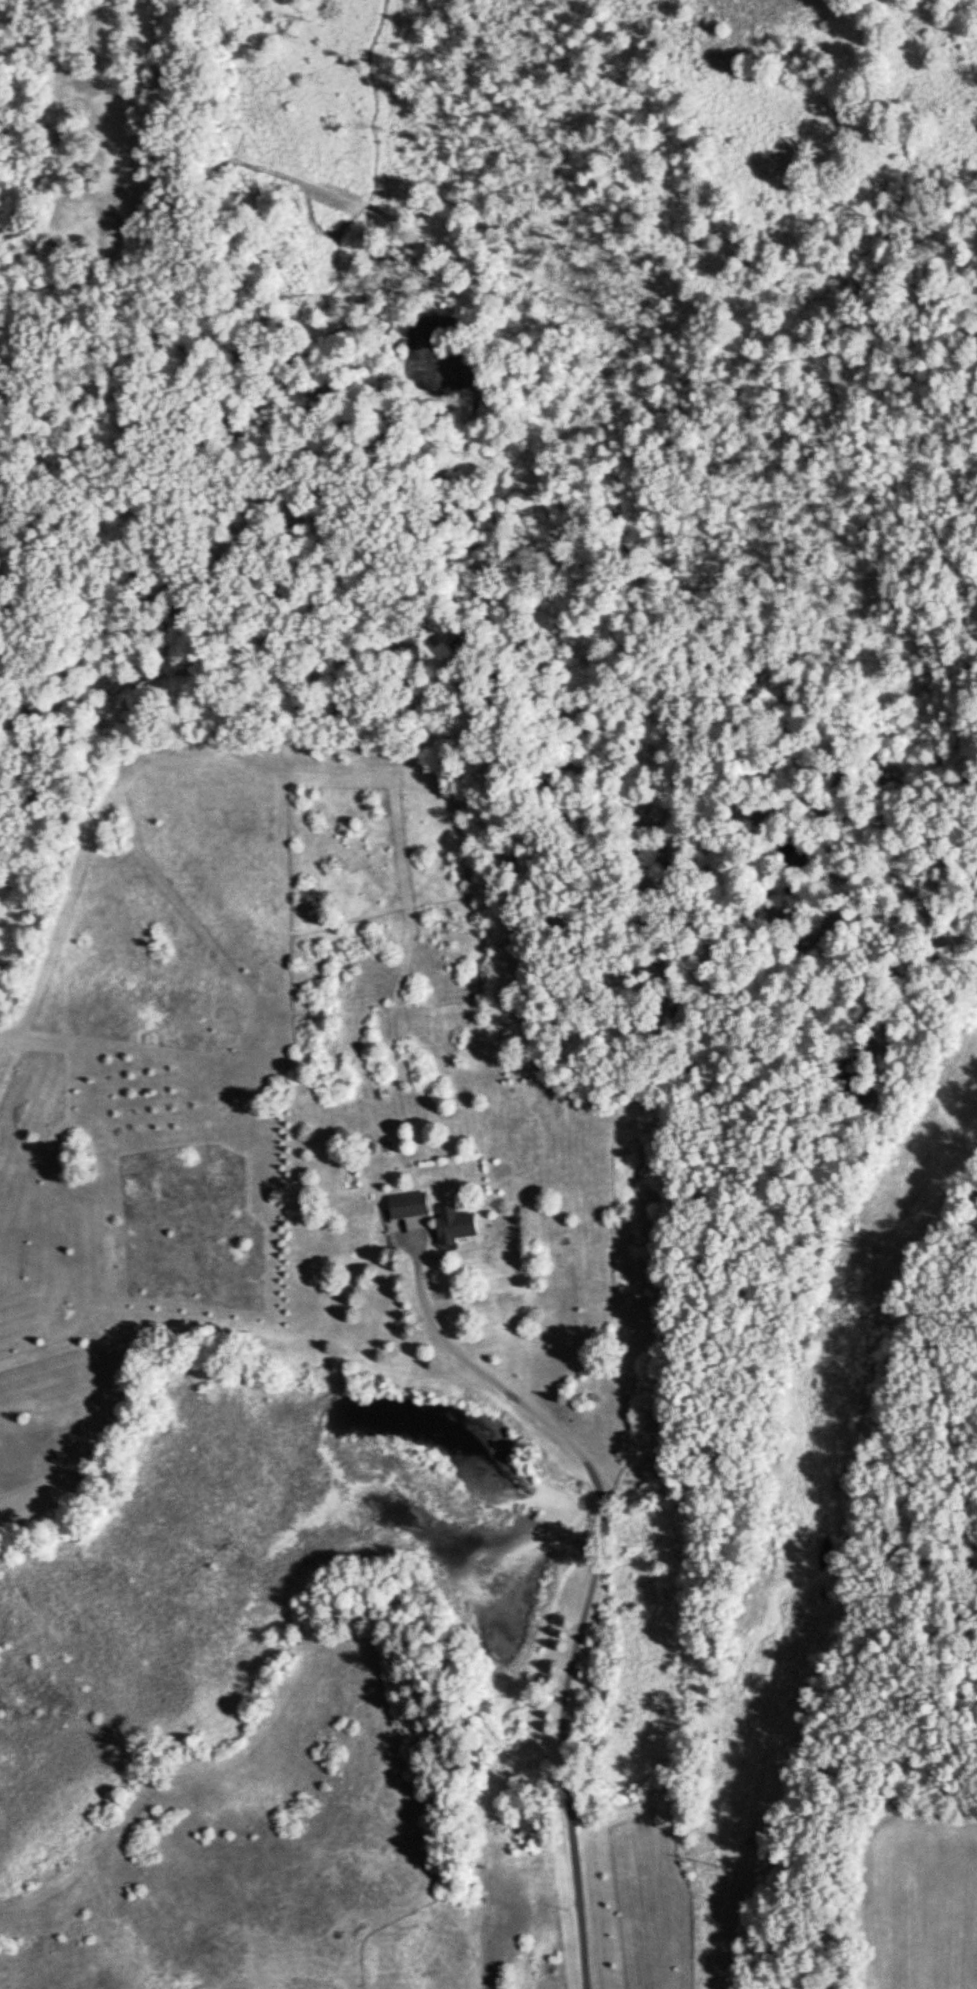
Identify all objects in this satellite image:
building: (408, 1203)
building: (454, 1223)
power tower: (871, 1259)
road: (586, 1600)
power tower: (727, 1870)
crop: (925, 1899)

